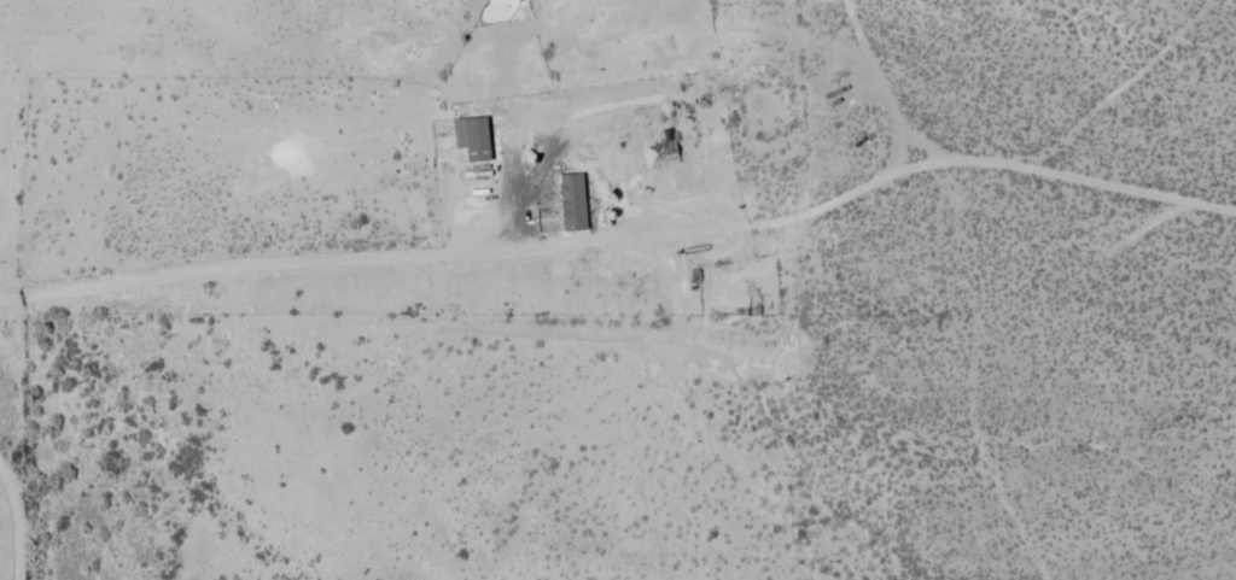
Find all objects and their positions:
road: (887, 83)
building: (476, 128)
building: (663, 147)
building: (591, 178)
road: (625, 232)
road: (607, 408)
road: (13, 517)

